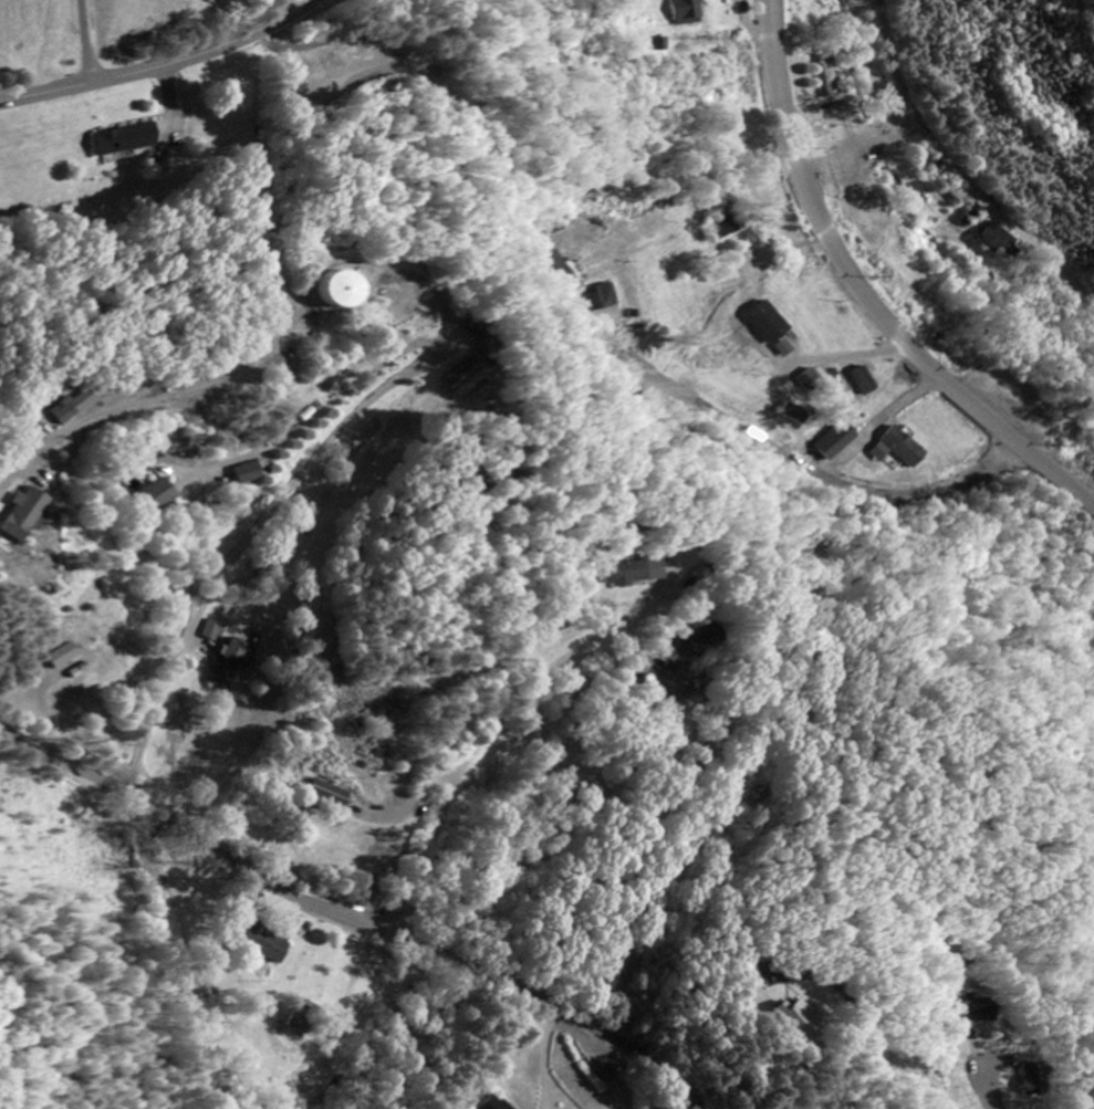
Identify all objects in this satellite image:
building: (686, 12)
road: (86, 41)
building: (659, 45)
road: (163, 64)
building: (827, 75)
road: (168, 108)
road: (930, 136)
building: (123, 137)
building: (955, 197)
building: (998, 242)
building: (348, 290)
road: (864, 293)
building: (770, 324)
road: (448, 336)
building: (482, 337)
building: (785, 349)
building: (467, 378)
building: (811, 380)
building: (865, 381)
building: (80, 407)
building: (795, 415)
road: (878, 422)
road: (295, 426)
building: (838, 441)
building: (903, 449)
road: (800, 463)
building: (244, 473)
building: (152, 496)
building: (31, 515)
road: (198, 546)
building: (624, 574)
building: (212, 632)
building: (692, 641)
building: (54, 657)
building: (230, 666)
road: (490, 723)
building: (321, 794)
road: (347, 922)
road: (649, 922)
road: (924, 940)
building: (260, 943)
building: (977, 1011)
building: (810, 1024)
road: (18, 1061)
building: (1028, 1080)
building: (486, 1105)

